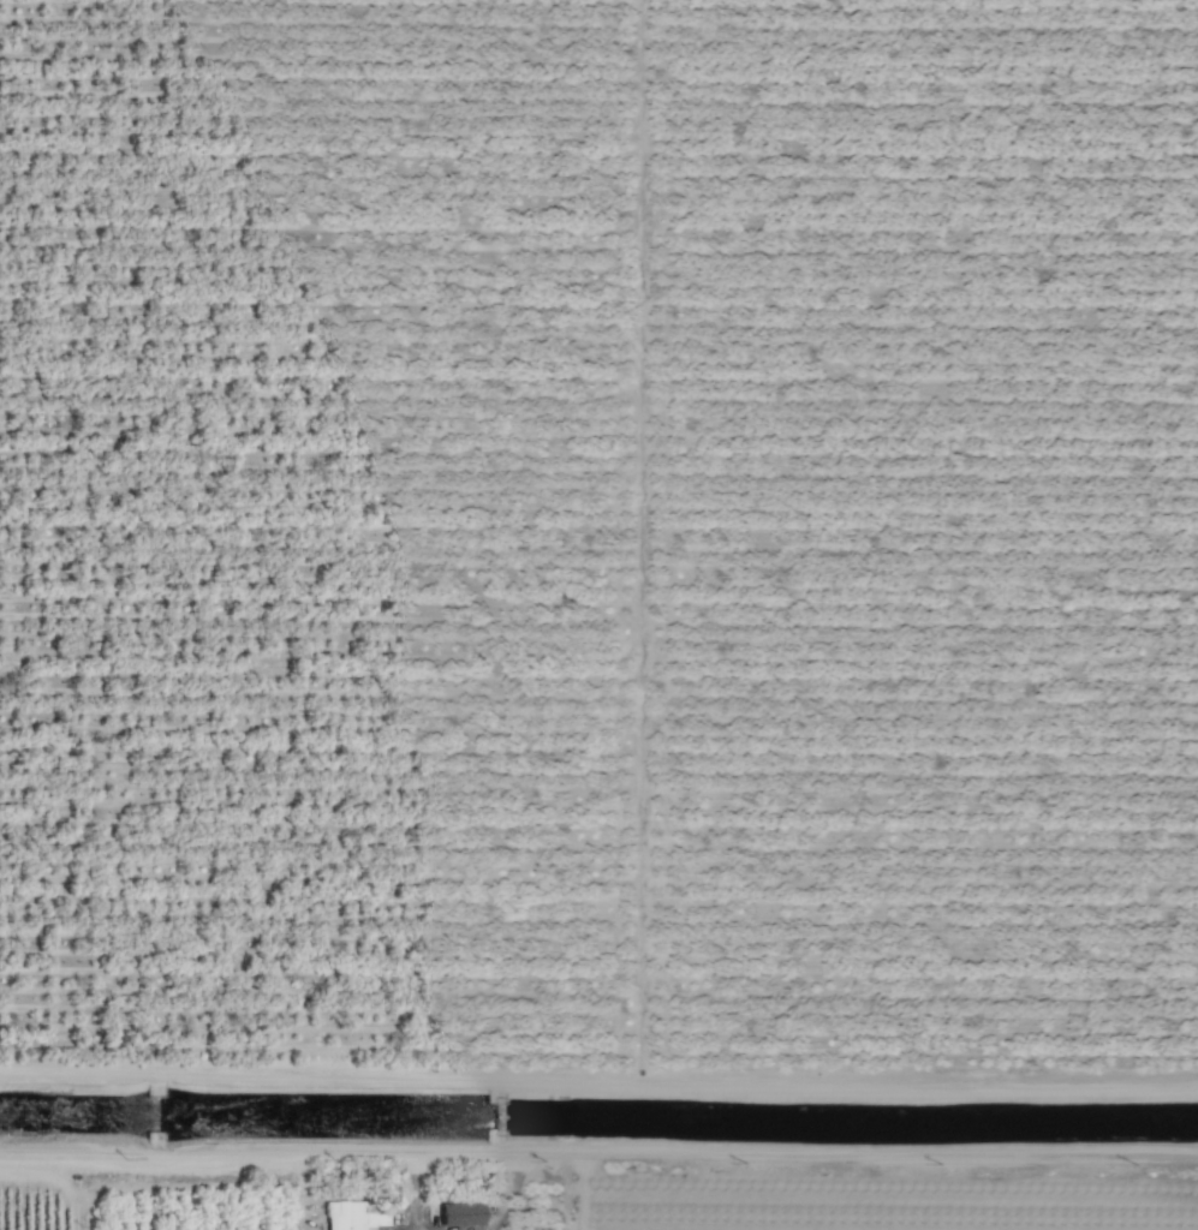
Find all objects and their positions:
road: (598, 1091)
road: (598, 1154)
road: (573, 1192)
road: (415, 1193)
road: (511, 1196)
building: (461, 1214)
building: (345, 1216)

